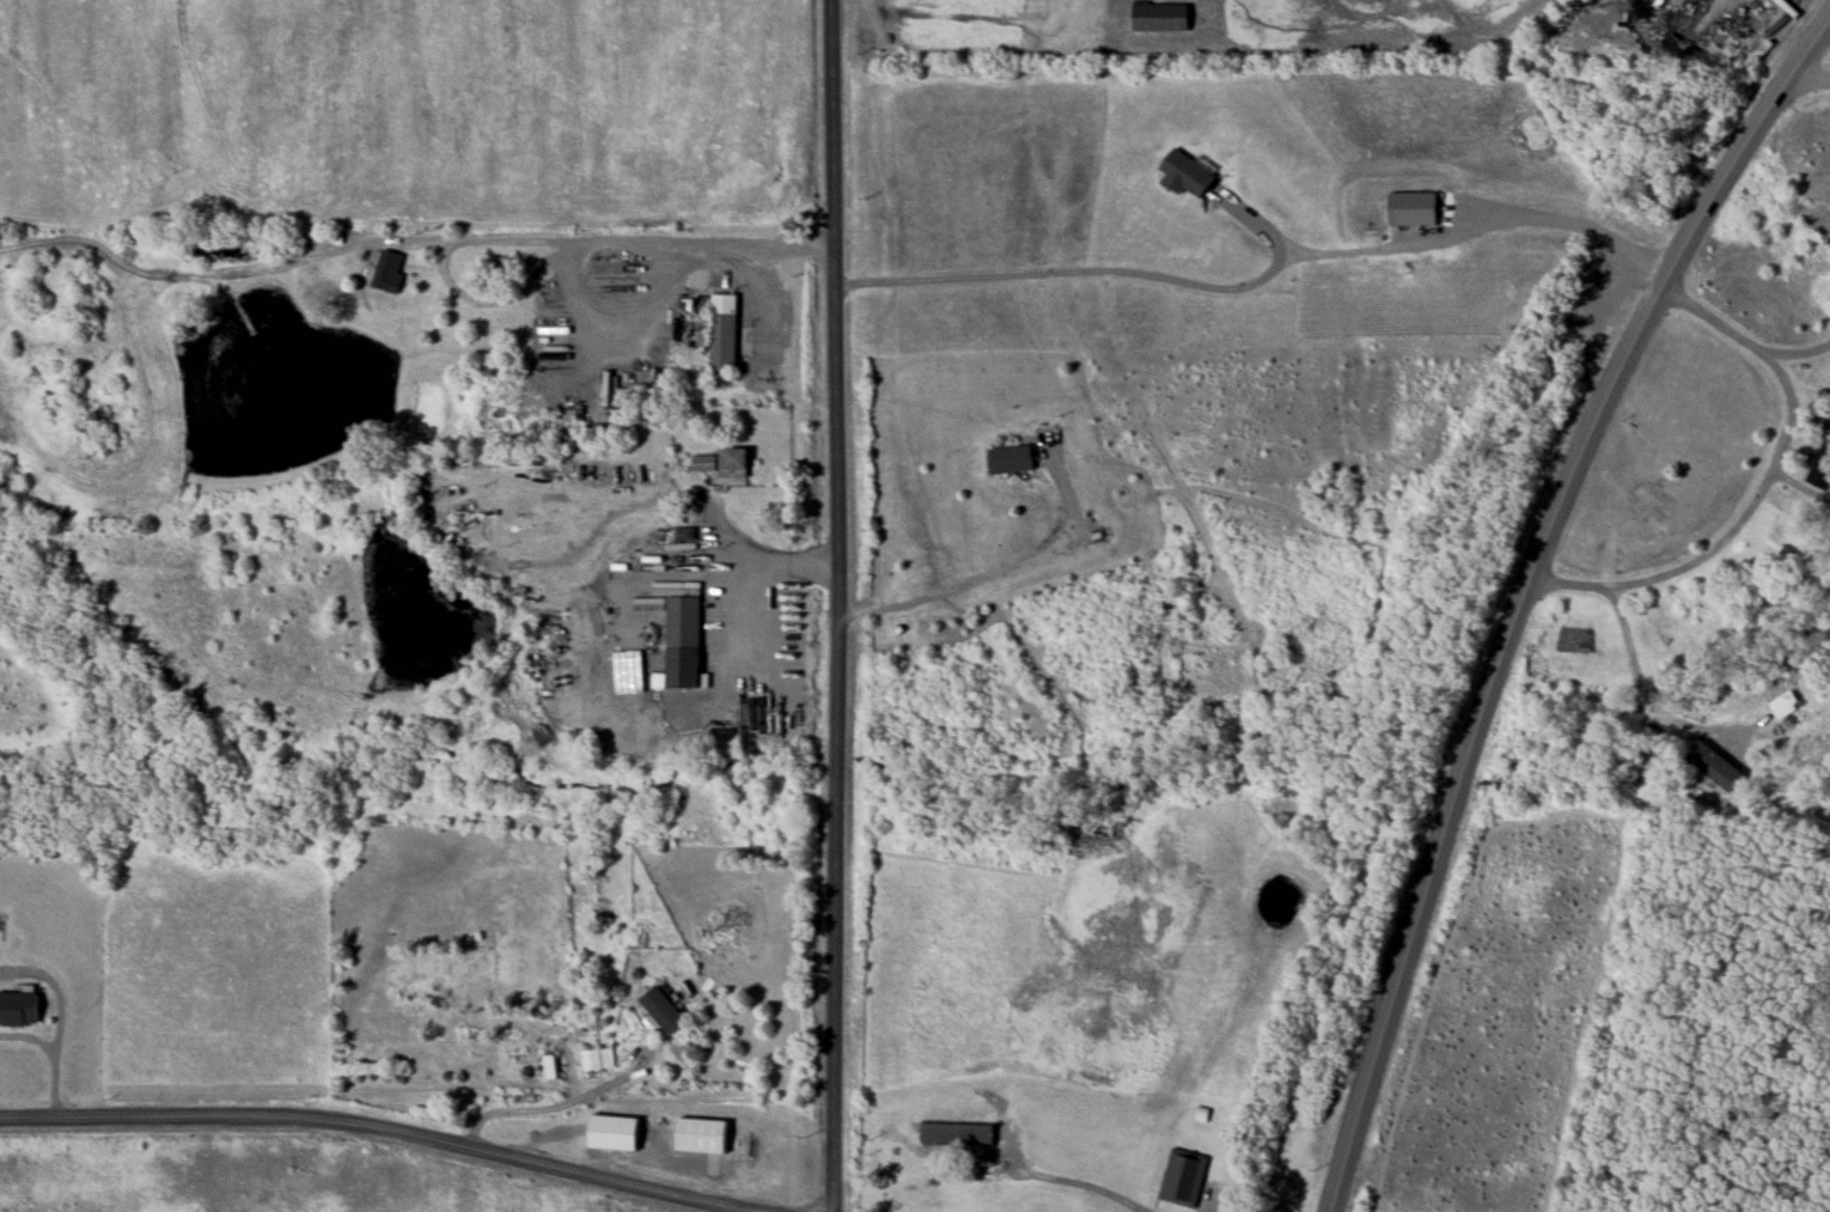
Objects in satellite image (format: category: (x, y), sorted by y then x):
road: (1810, 79)
building: (1184, 176)
building: (1411, 209)
road: (597, 239)
building: (386, 270)
road: (1261, 275)
building: (722, 331)
road: (1741, 337)
road: (1811, 418)
building: (1009, 459)
building: (703, 463)
building: (732, 463)
building: (1822, 468)
road: (1798, 488)
road: (1726, 540)
road: (762, 554)
road: (999, 571)
road: (1524, 591)
road: (837, 605)
building: (684, 640)
road: (1633, 690)
building: (19, 1010)
building: (663, 1010)
road: (62, 1018)
building: (597, 1059)
building: (551, 1067)
road: (561, 1111)
road: (374, 1127)
building: (957, 1134)
building: (702, 1135)
building: (1183, 1177)
road: (1063, 1188)

